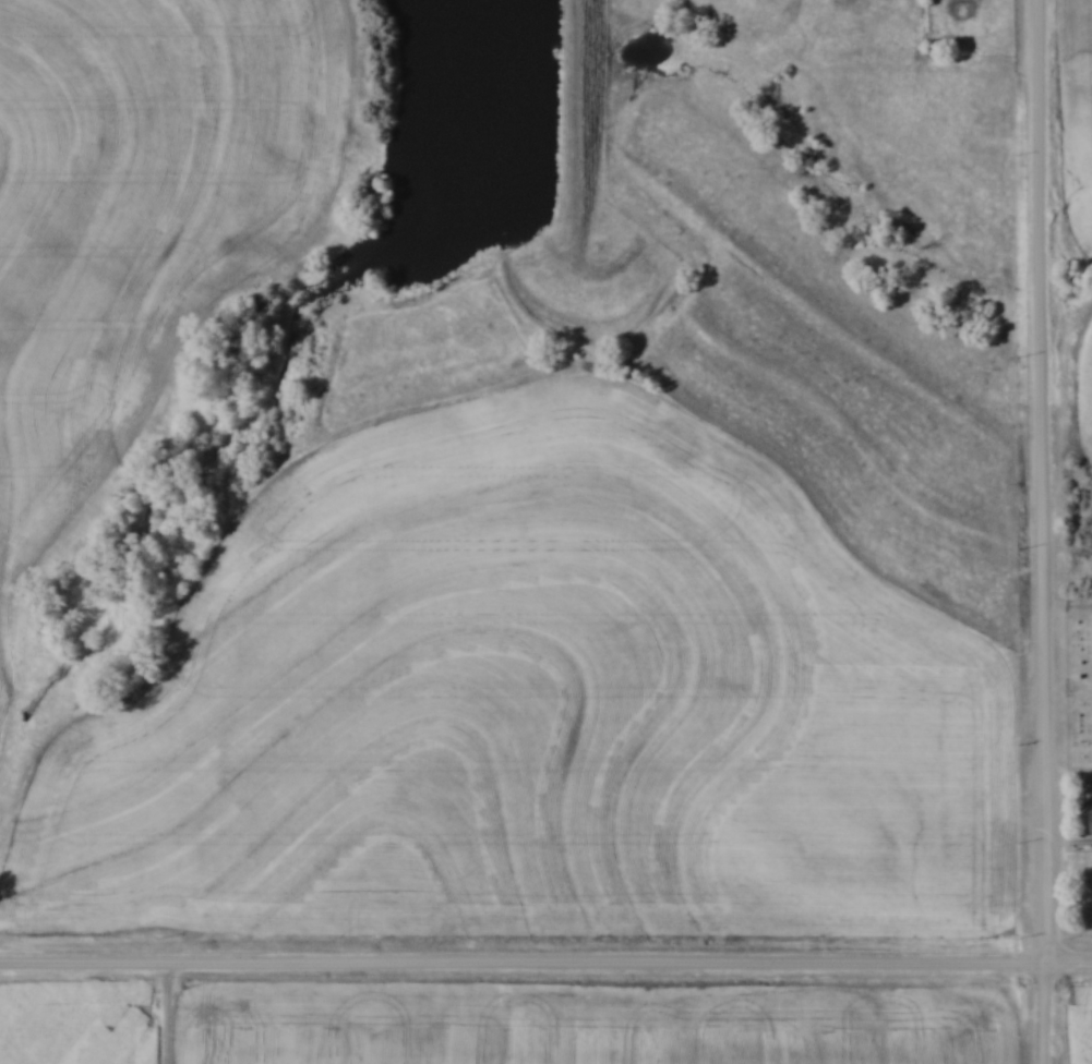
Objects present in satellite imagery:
road: (1045, 532)
building: (1091, 823)
road: (545, 963)

